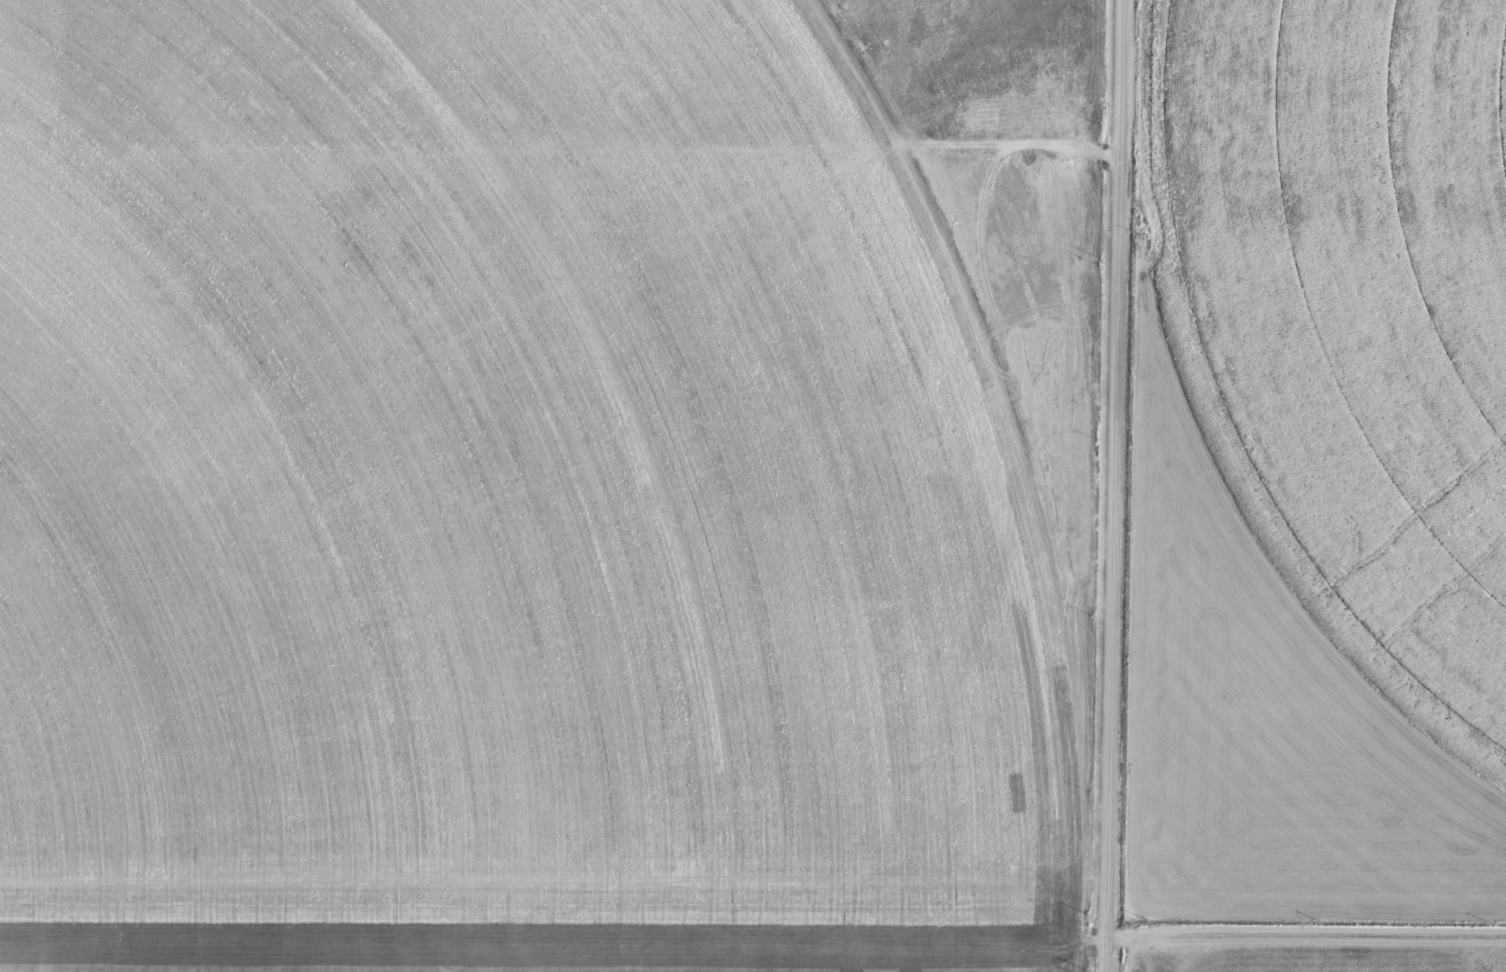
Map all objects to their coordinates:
road: (1113, 486)

